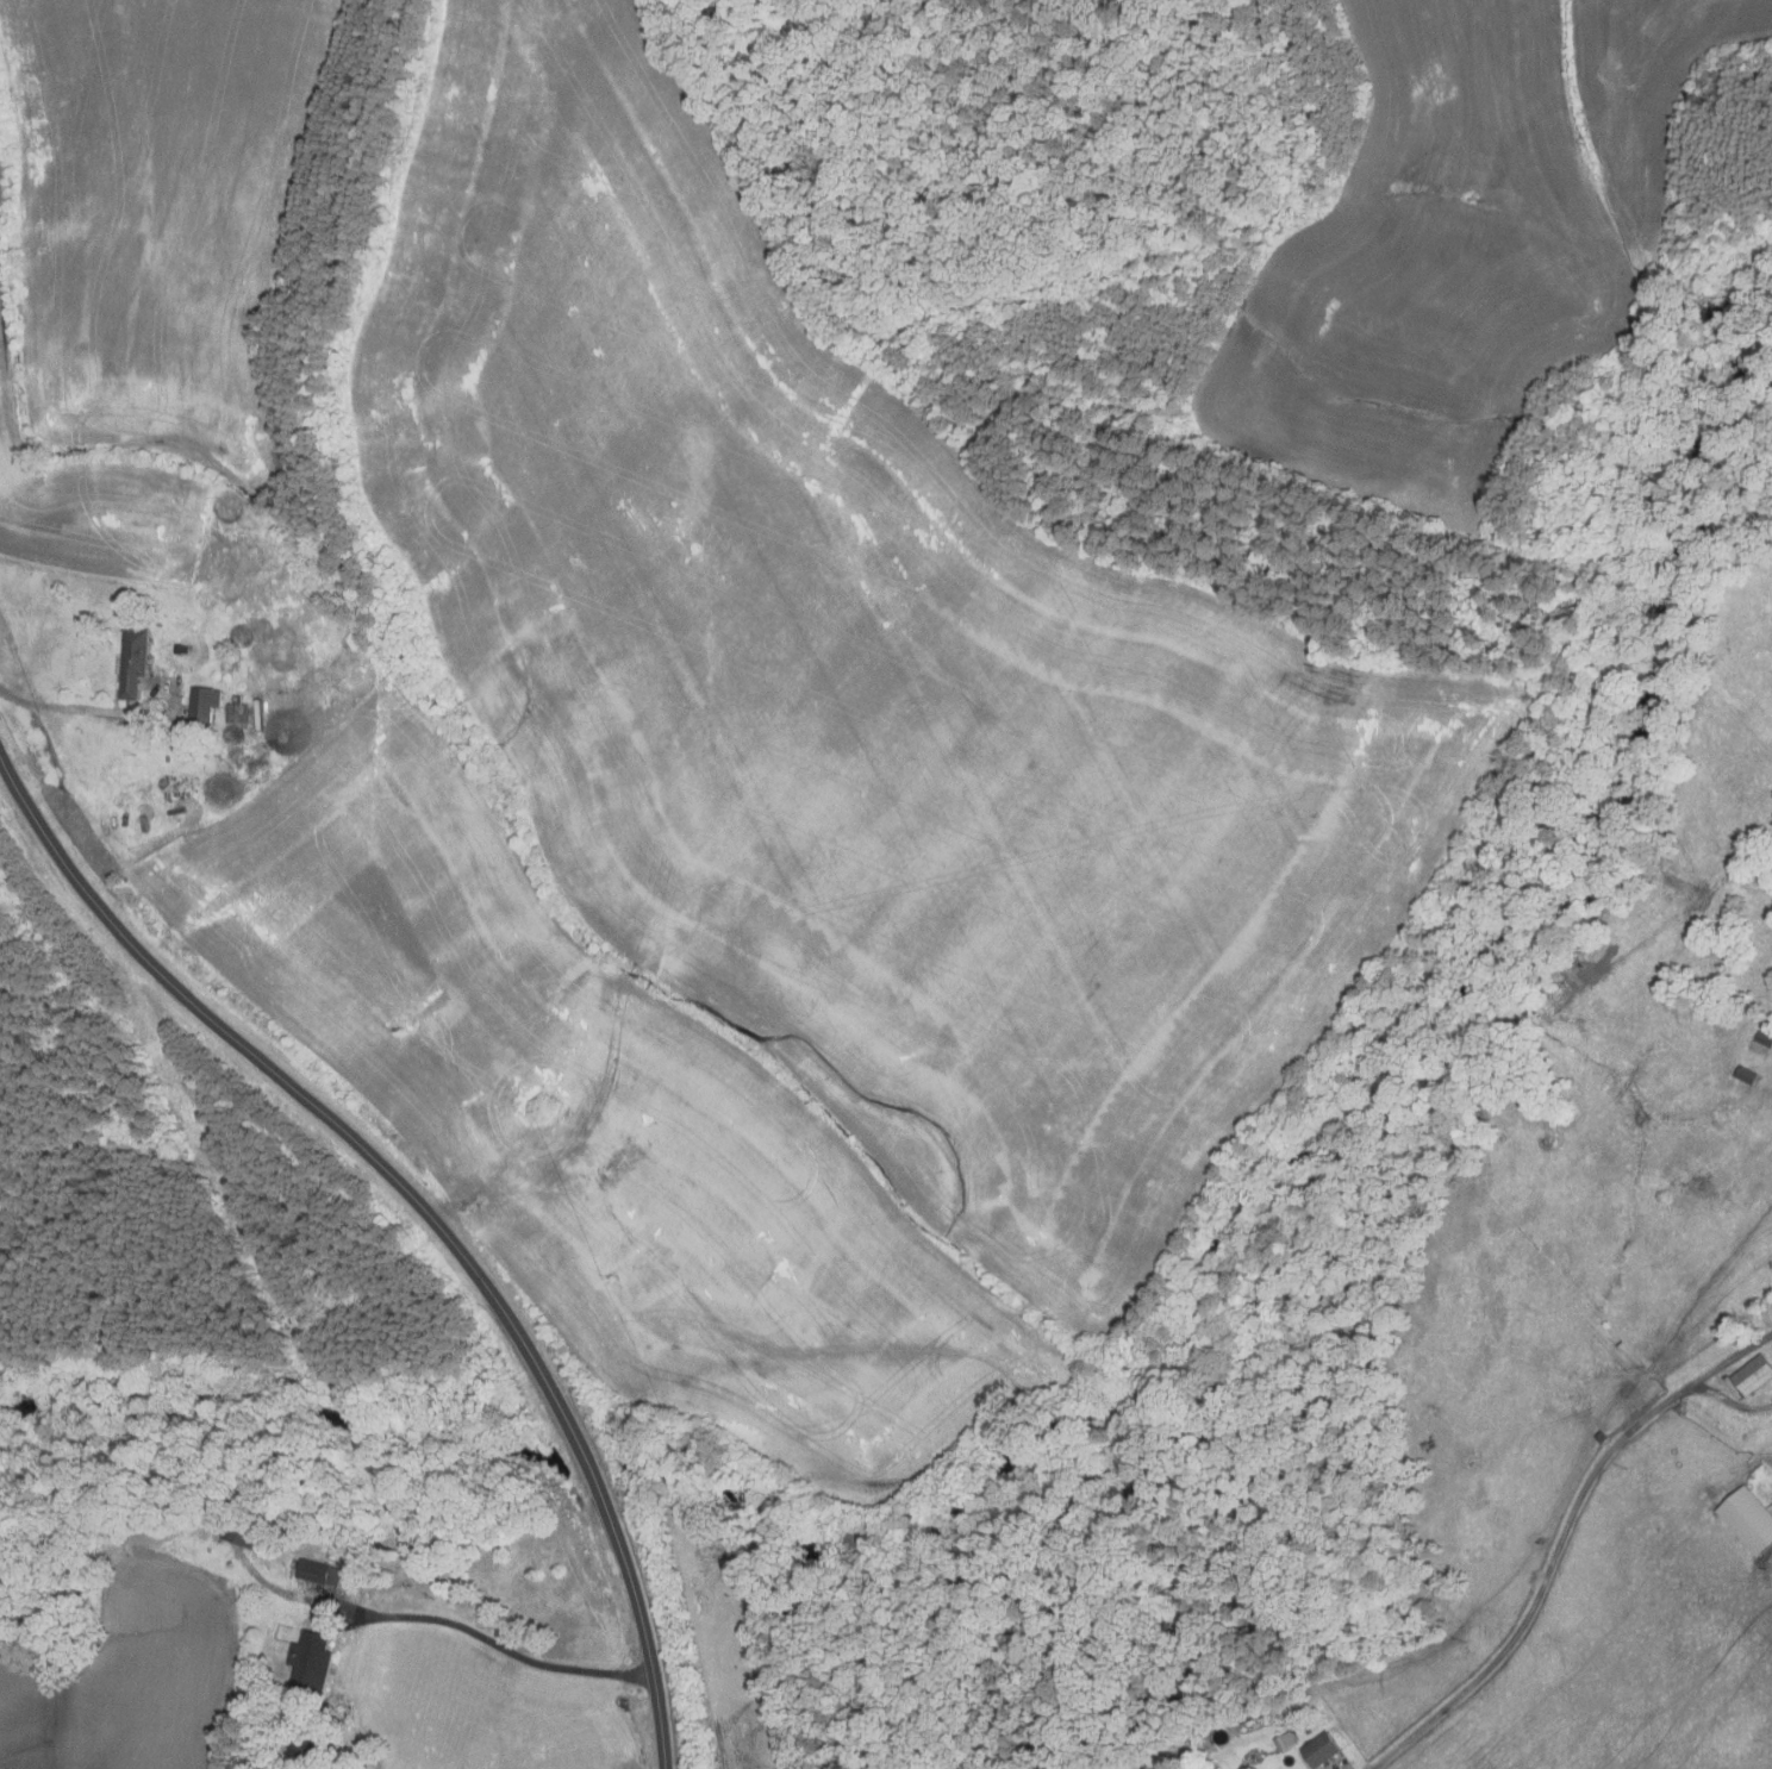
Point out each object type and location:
crop: (1458, 251)
building: (183, 648)
building: (138, 662)
crop: (867, 689)
building: (206, 704)
road: (81, 710)
building: (239, 713)
crop: (424, 807)
building: (1759, 1048)
building: (1746, 1074)
building: (1540, 1088)
building: (1477, 1142)
road: (423, 1207)
building: (1753, 1375)
road: (1732, 1401)
building: (1605, 1437)
building: (1748, 1519)
building: (244, 1533)
road: (1560, 1539)
building: (322, 1571)
road: (514, 1654)
building: (316, 1662)
crop: (133, 1681)
building: (1285, 1740)
building: (308, 1749)
building: (1319, 1749)
road: (1334, 1768)

